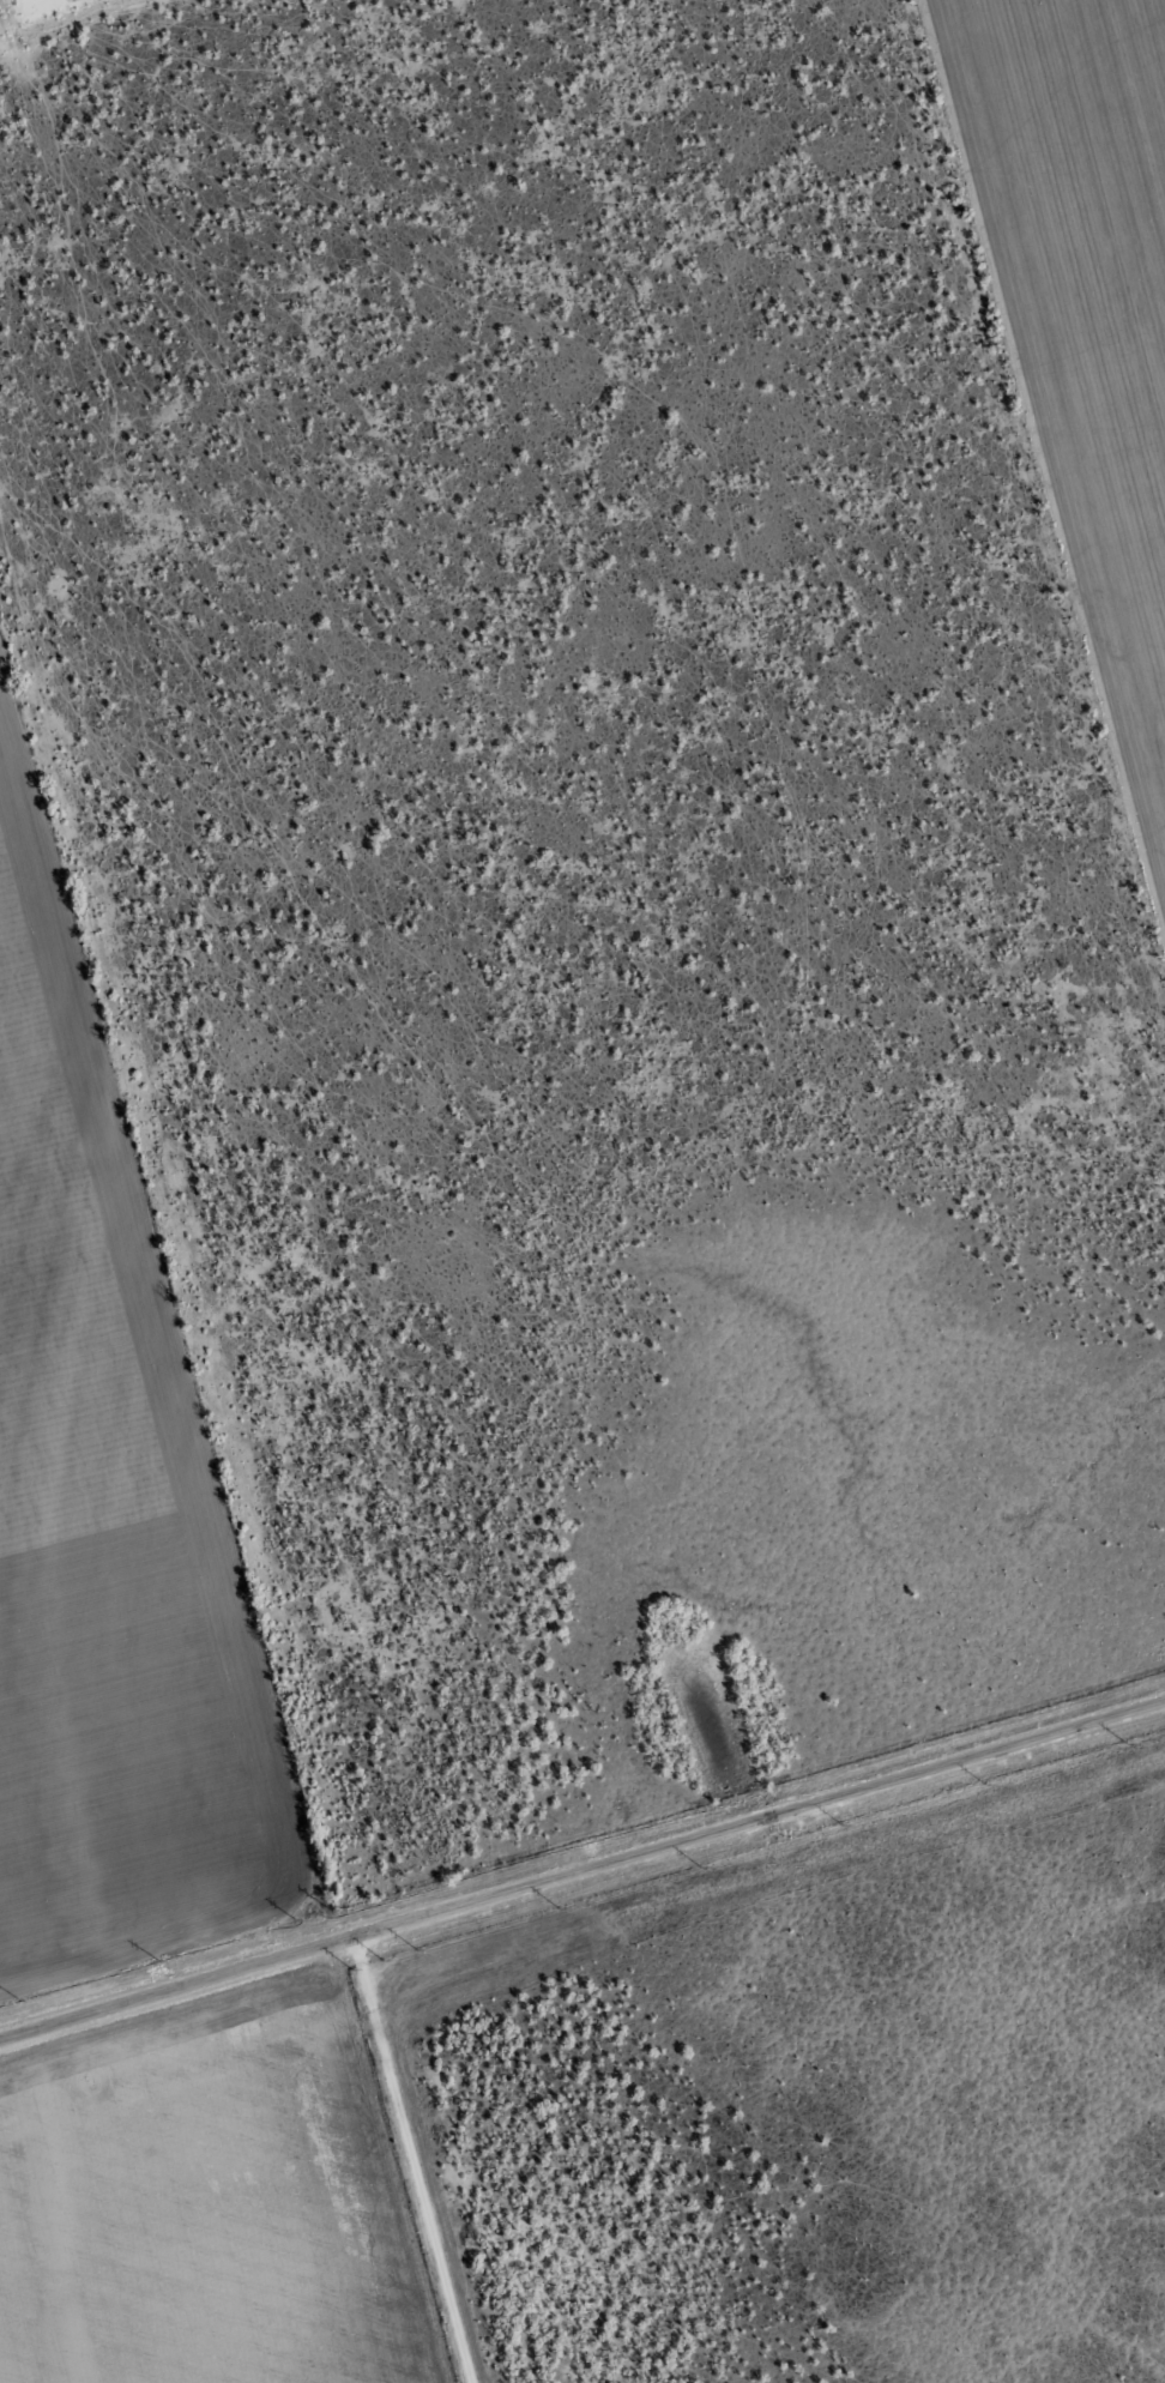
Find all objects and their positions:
road: (579, 1848)

